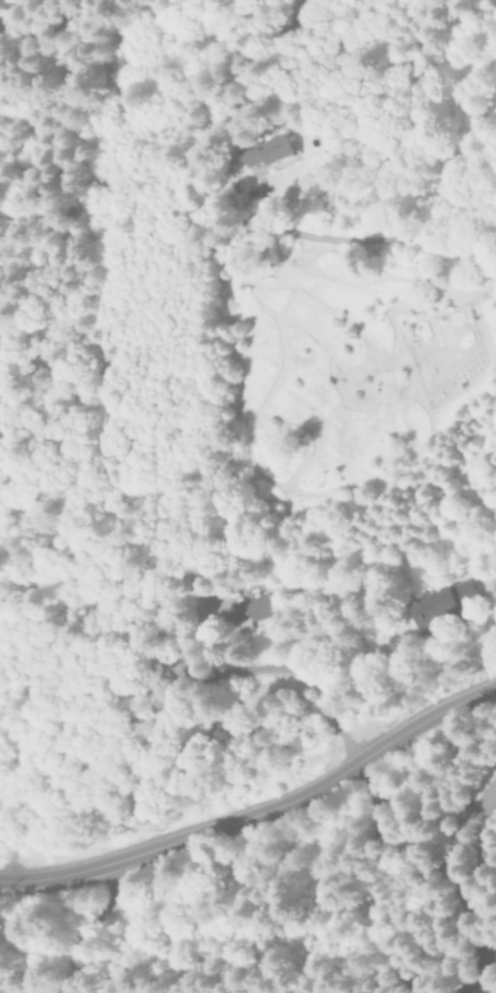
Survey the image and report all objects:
building: (257, 151)
building: (433, 602)
building: (246, 611)
road: (294, 642)
building: (483, 794)
road: (258, 807)
building: (486, 990)

